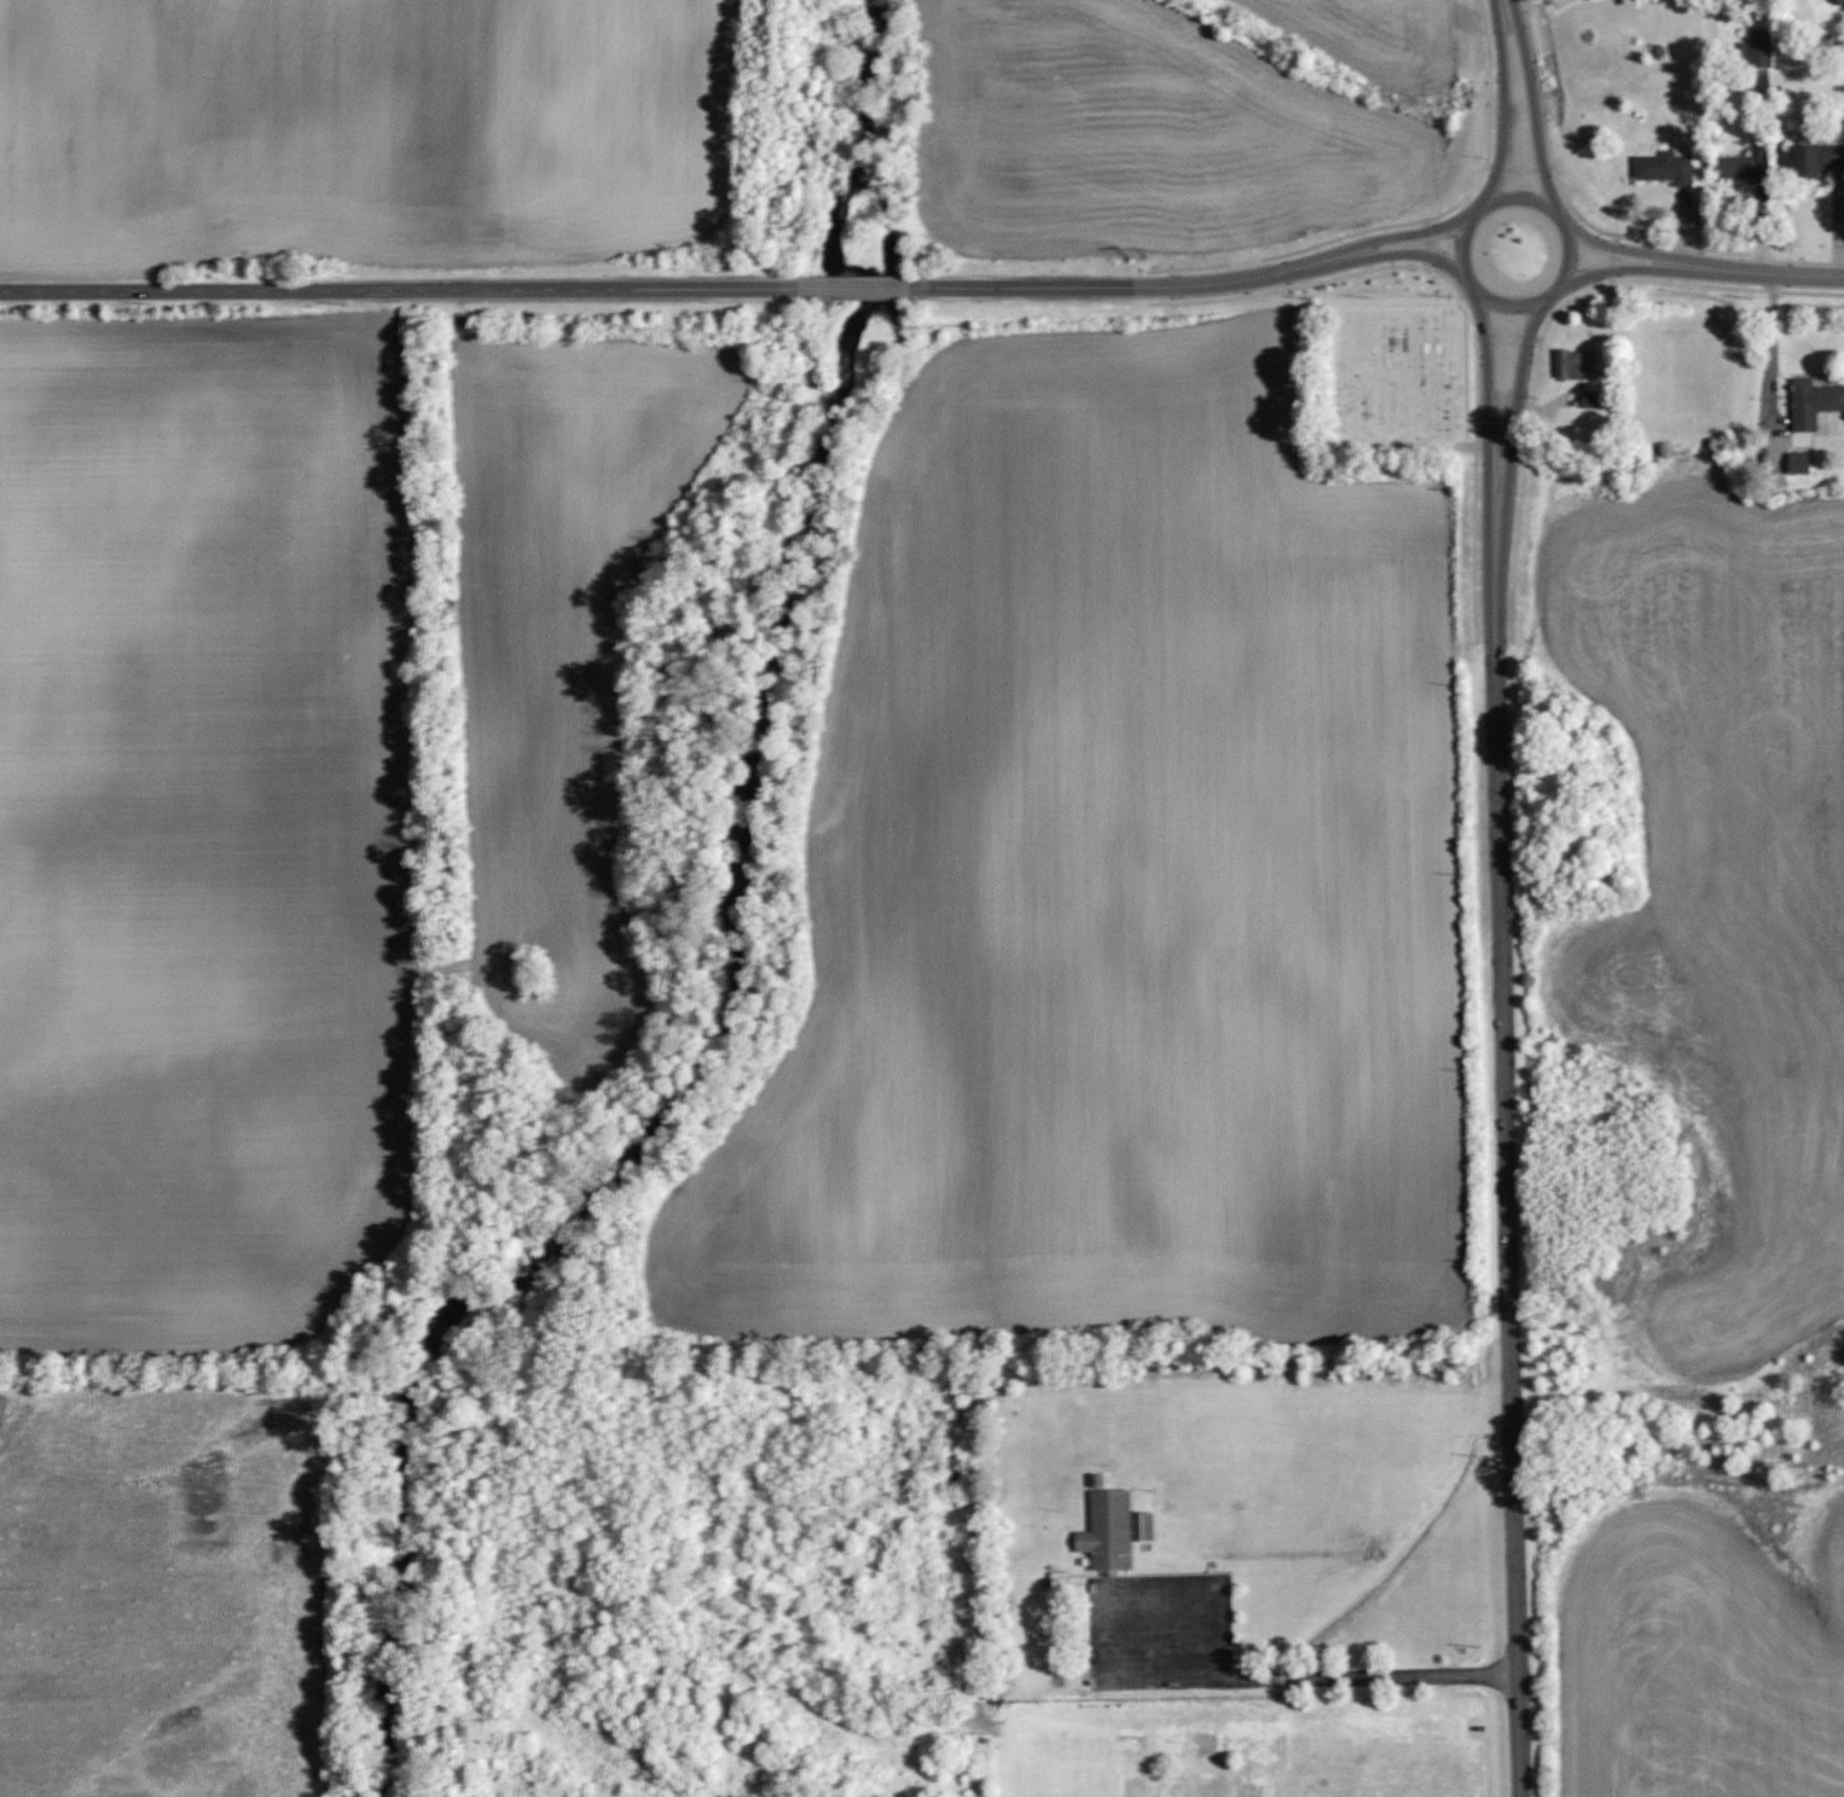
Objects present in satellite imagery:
building: (1763, 48)
road: (1502, 106)
road: (1533, 106)
crop: (365, 129)
building: (1817, 158)
building: (1663, 166)
building: (1745, 167)
road: (1519, 168)
road: (1517, 187)
road: (1565, 198)
road: (1411, 222)
road: (1388, 238)
road: (1430, 244)
road: (1641, 251)
road: (1387, 255)
road: (1612, 260)
road: (1640, 269)
road: (1788, 273)
road: (1102, 285)
road: (854, 289)
road: (400, 291)
road: (1469, 305)
road: (1546, 329)
road: (1510, 336)
road: (1774, 343)
building: (1576, 365)
park: (1390, 371)
building: (1814, 404)
road: (1492, 439)
road: (1510, 441)
building: (1803, 463)
crop: (201, 825)
river: (730, 940)
road: (1508, 1200)
building: (1115, 1528)
crop: (162, 1594)
road: (1196, 1660)

